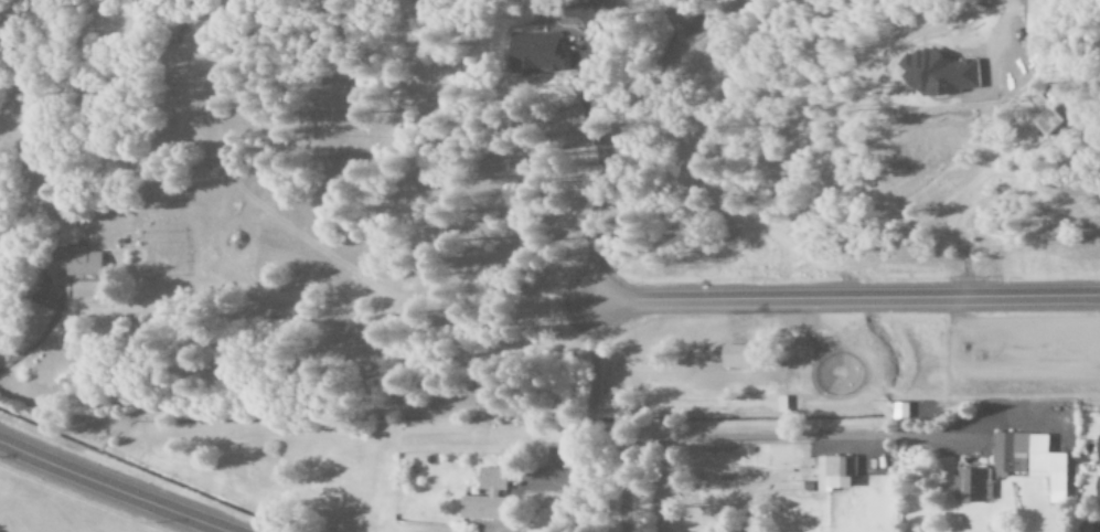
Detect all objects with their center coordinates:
building: (531, 53)
road: (845, 296)
building: (733, 357)
building: (1099, 435)
building: (1029, 460)
building: (834, 472)
building: (968, 486)
road: (115, 487)
building: (1098, 492)
building: (484, 498)
building: (1096, 531)

